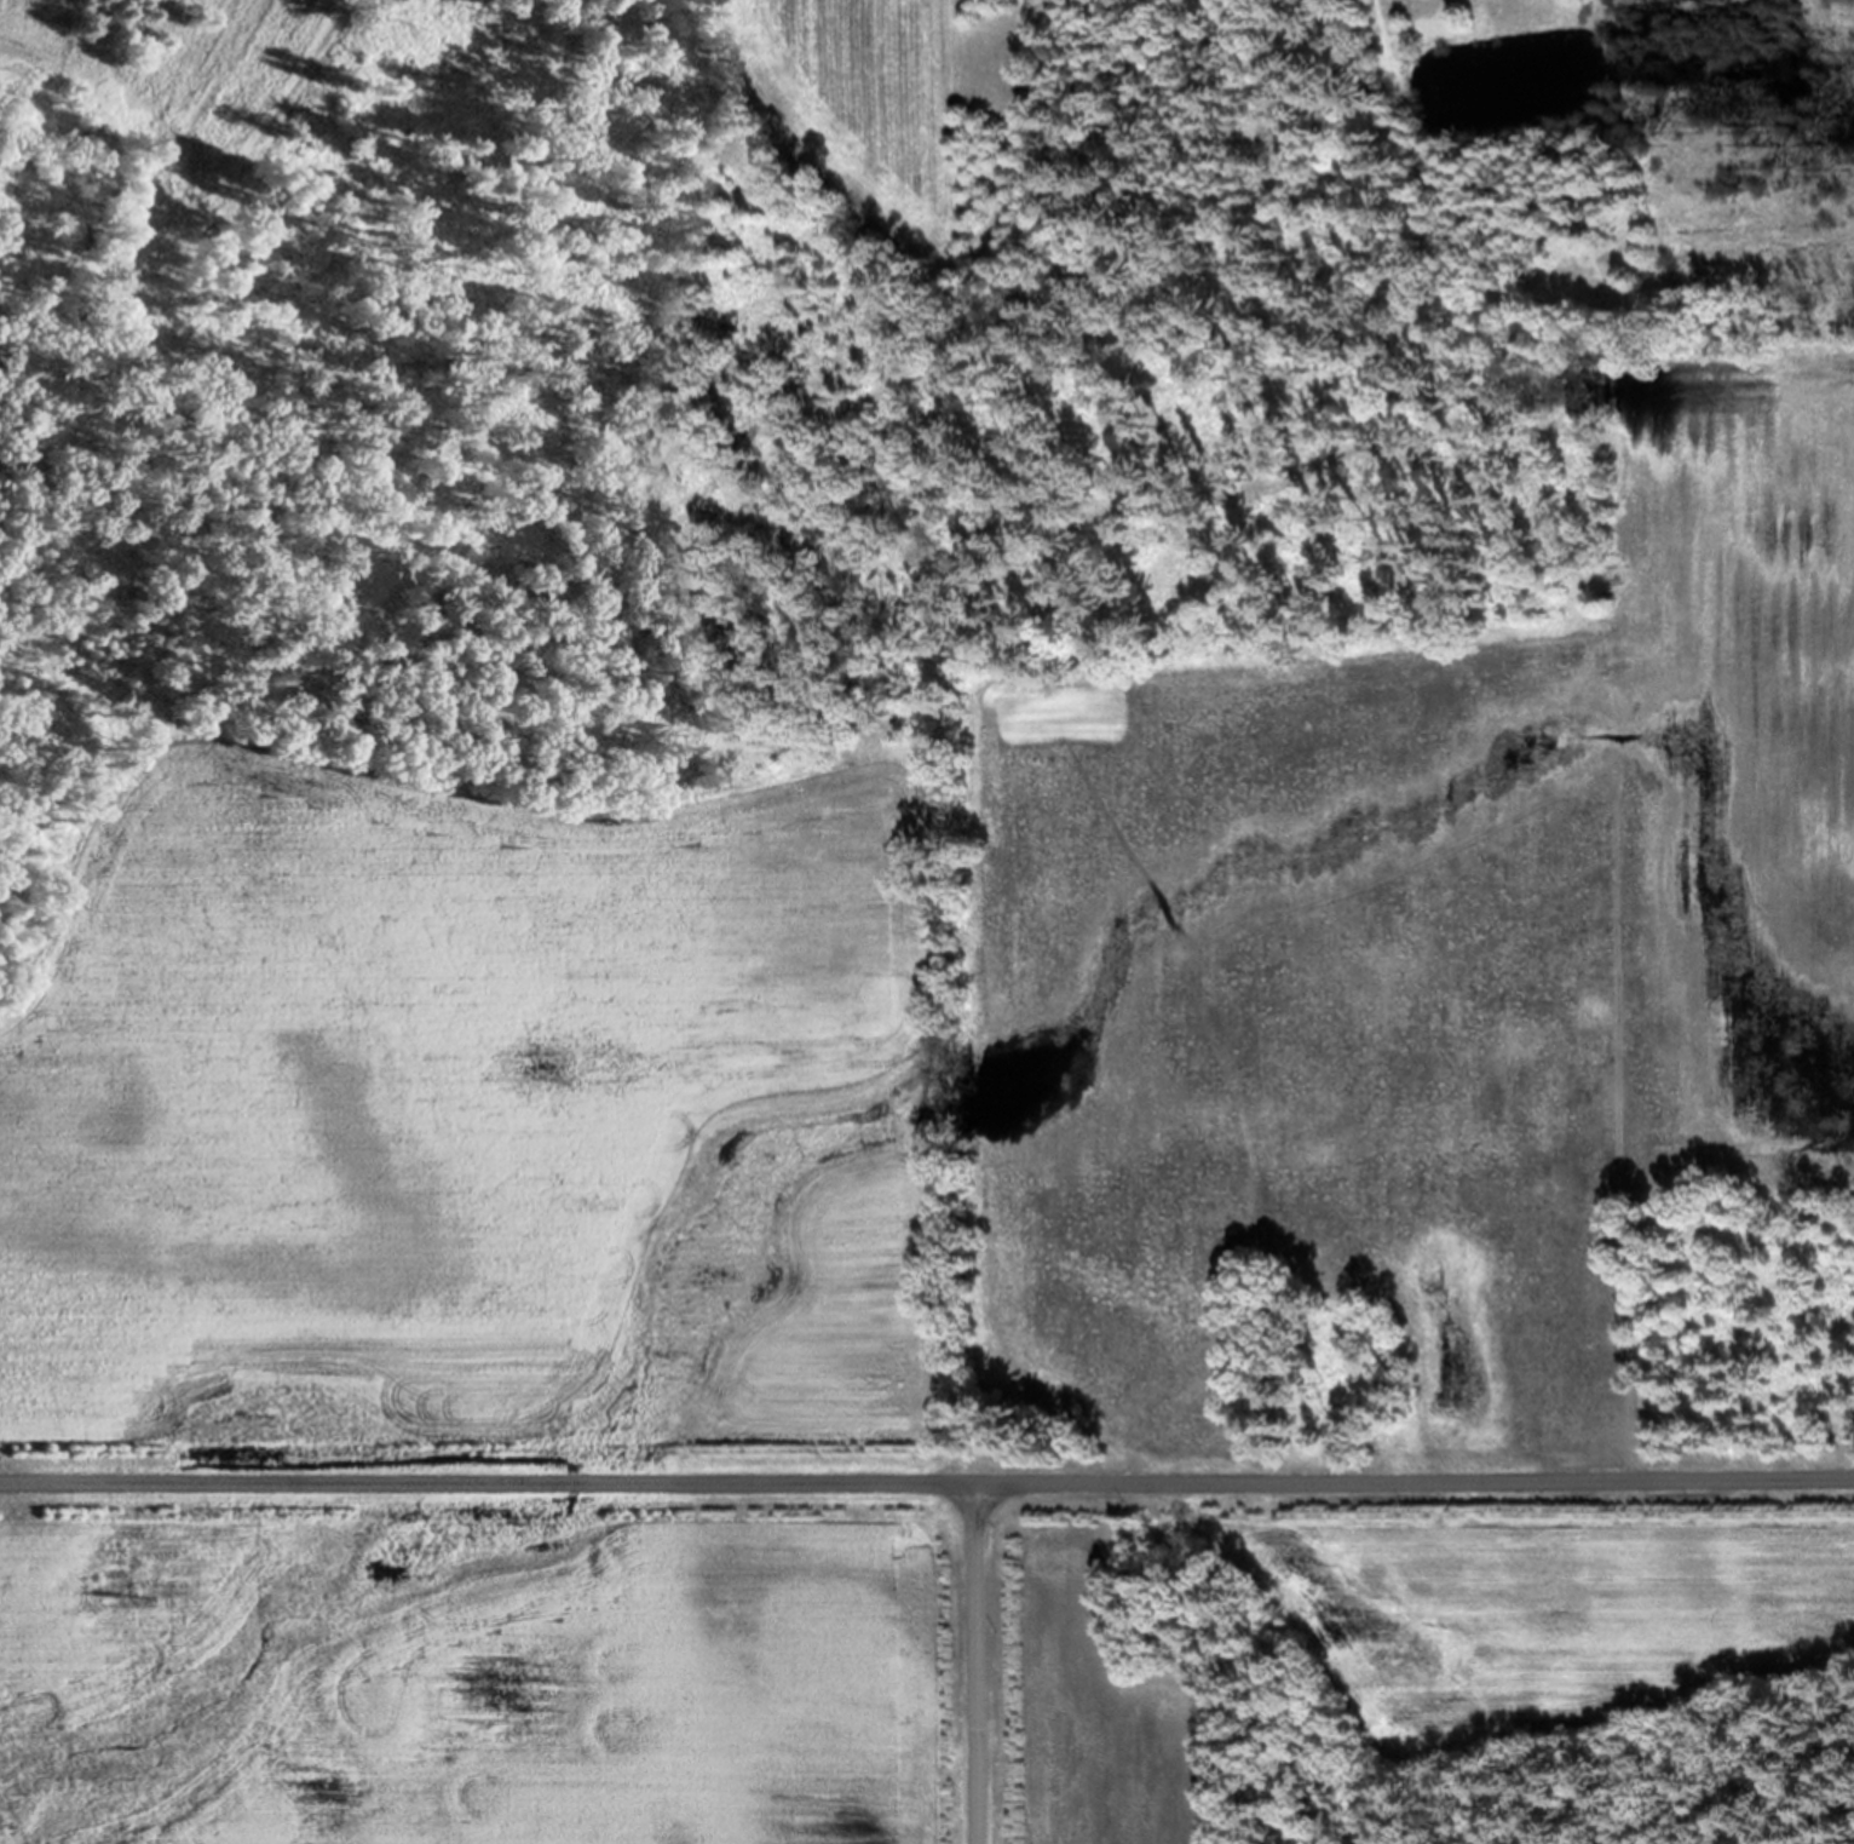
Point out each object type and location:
road: (927, 1489)
road: (971, 1667)

